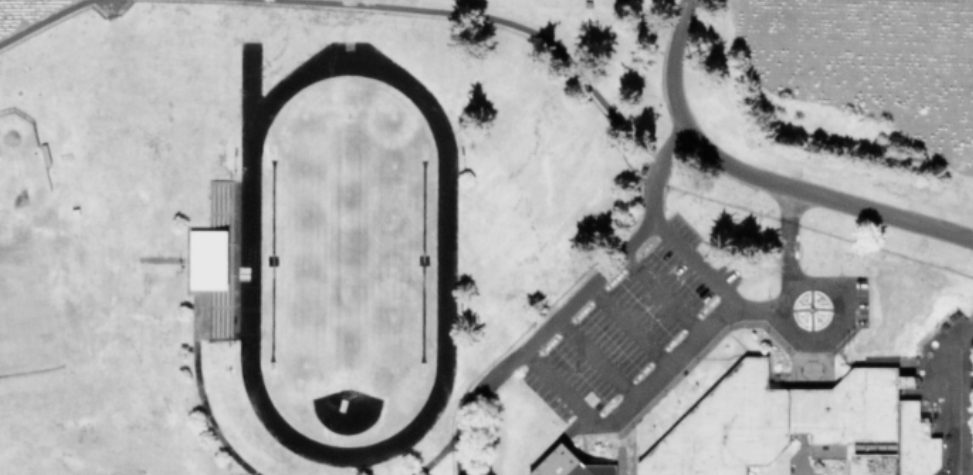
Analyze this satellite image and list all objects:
road: (482, 18)
road: (45, 23)
road: (673, 143)
road: (762, 178)
road: (652, 190)
road: (791, 236)
park: (346, 247)
park: (346, 258)
road: (696, 258)
park: (30, 259)
building: (207, 259)
road: (248, 265)
track: (248, 265)
road: (797, 280)
road: (663, 295)
parking lot: (851, 296)
road: (758, 307)
road: (627, 329)
road: (536, 335)
parking lot: (637, 335)
road: (595, 360)
road: (957, 404)
road: (630, 407)
road: (217, 419)
building: (798, 425)
road: (437, 454)
building: (568, 464)
road: (364, 470)

